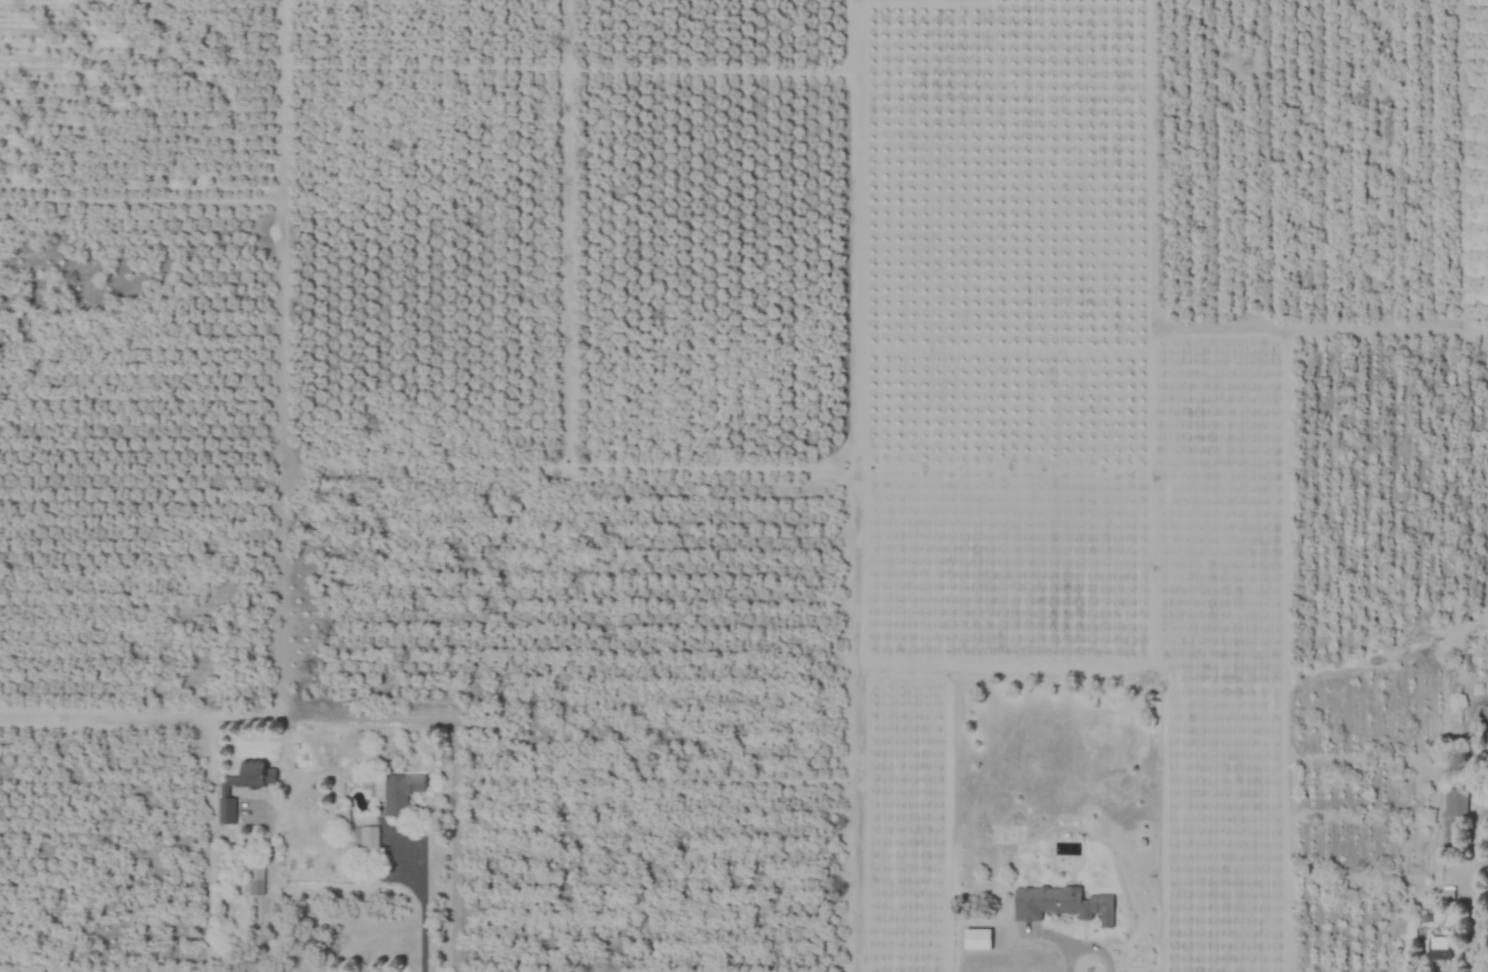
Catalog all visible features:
road: (937, 0)
road: (855, 486)
building: (1485, 715)
building: (224, 792)
building: (400, 793)
building: (1455, 815)
building: (1006, 834)
building: (366, 840)
building: (253, 880)
road: (1470, 889)
building: (1061, 904)
road: (422, 922)
building: (1439, 949)

